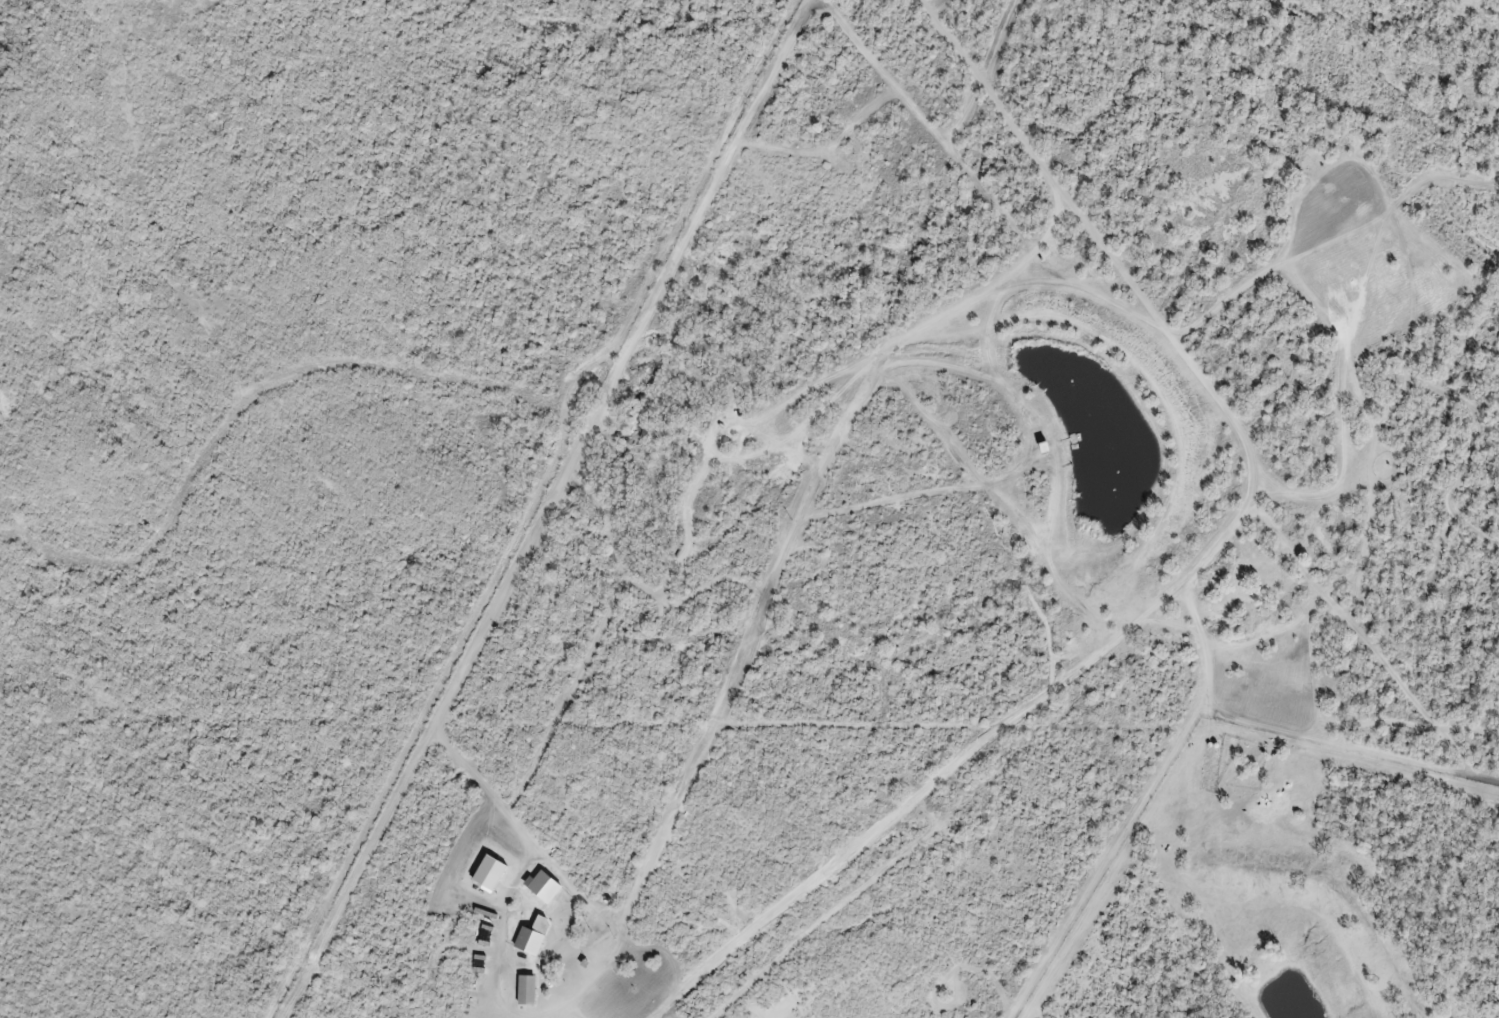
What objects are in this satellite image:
building: (488, 872)
building: (543, 885)
building: (531, 936)
building: (525, 990)

